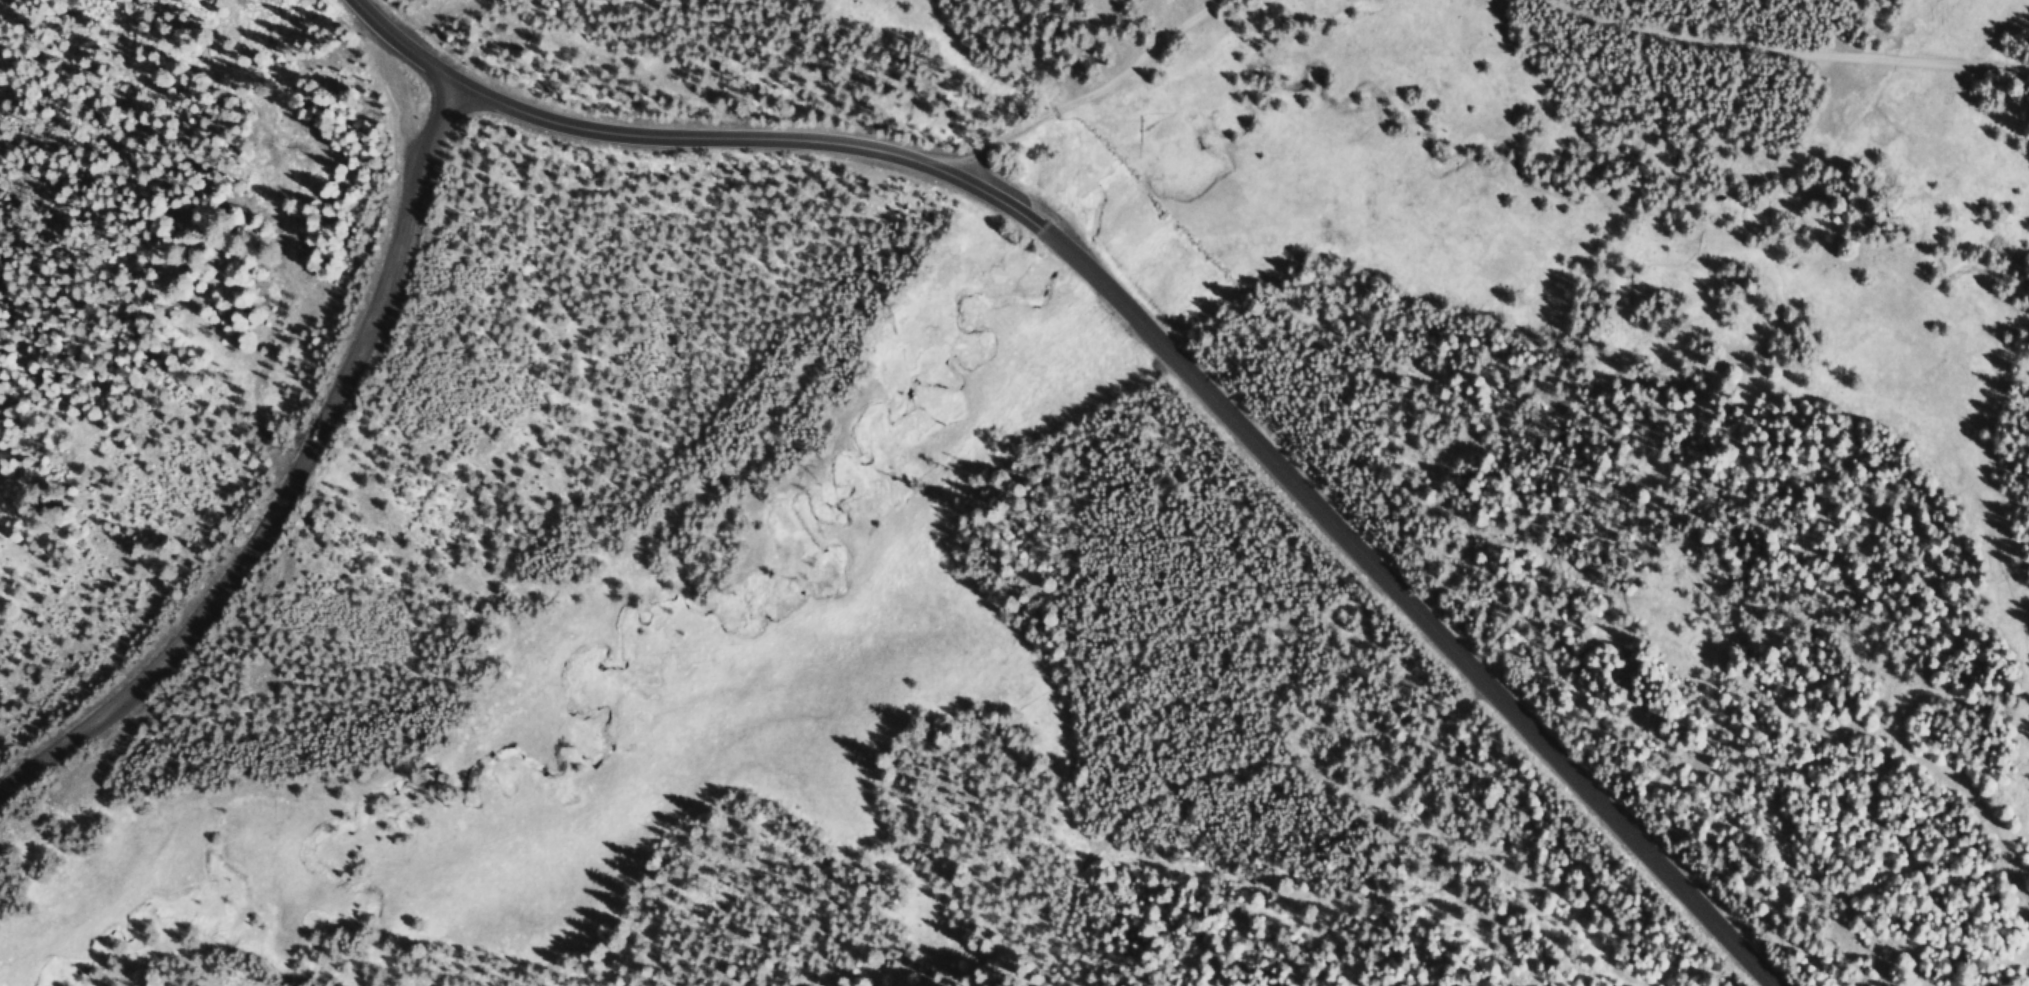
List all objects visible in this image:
road: (407, 46)
road: (1787, 54)
road: (1087, 86)
road: (268, 93)
road: (1202, 384)
road: (298, 485)

